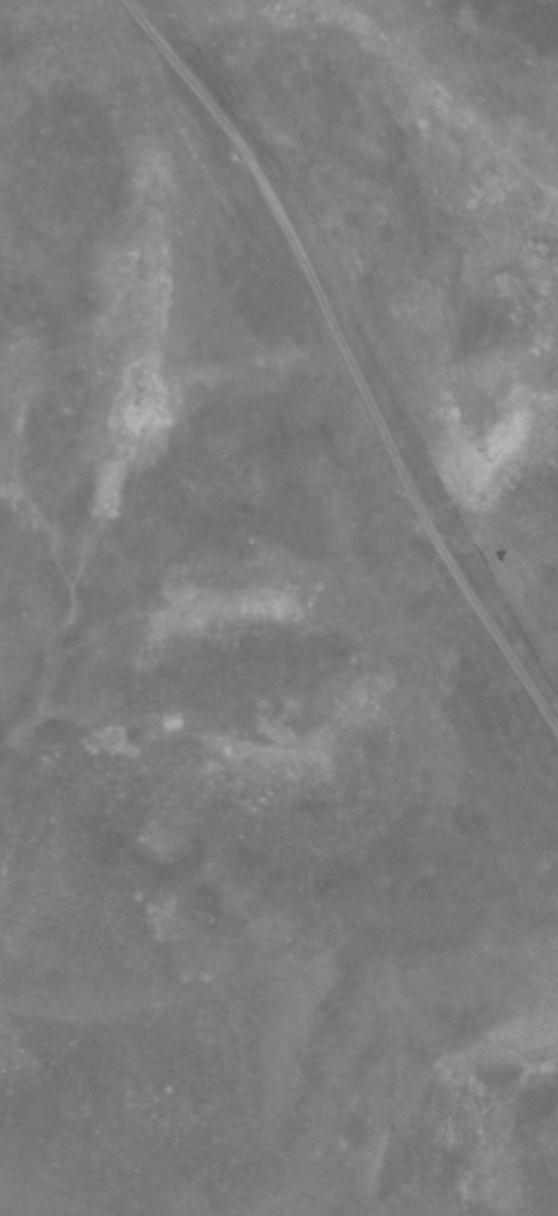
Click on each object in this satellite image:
road: (345, 319)
road: (539, 672)
road: (280, 909)

